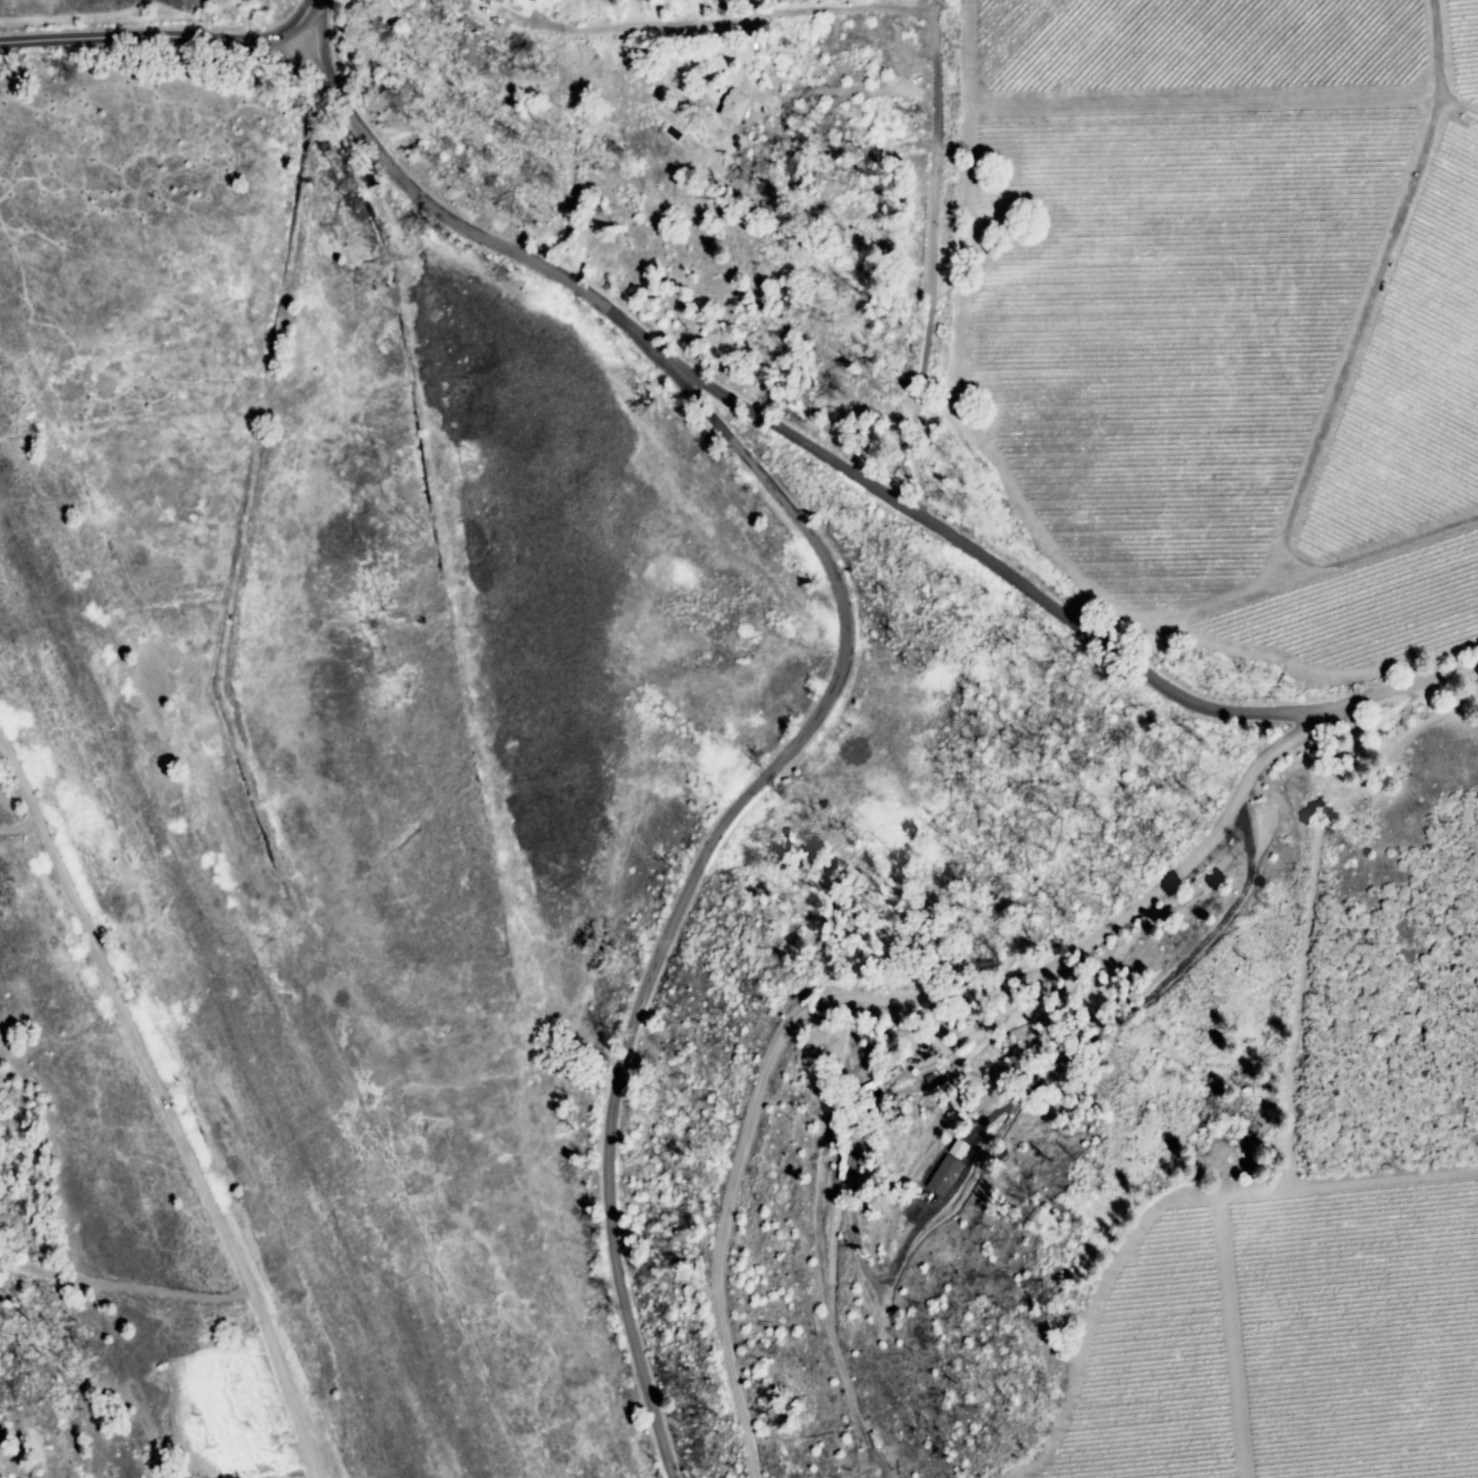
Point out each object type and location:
road: (724, 22)
road: (163, 34)
building: (733, 106)
building: (738, 116)
road: (931, 260)
road: (1047, 542)
road: (1012, 582)
road: (841, 668)
road: (21, 817)
airport runway: (220, 985)
road: (880, 991)
road: (160, 1095)
building: (943, 1175)
road: (124, 1289)

